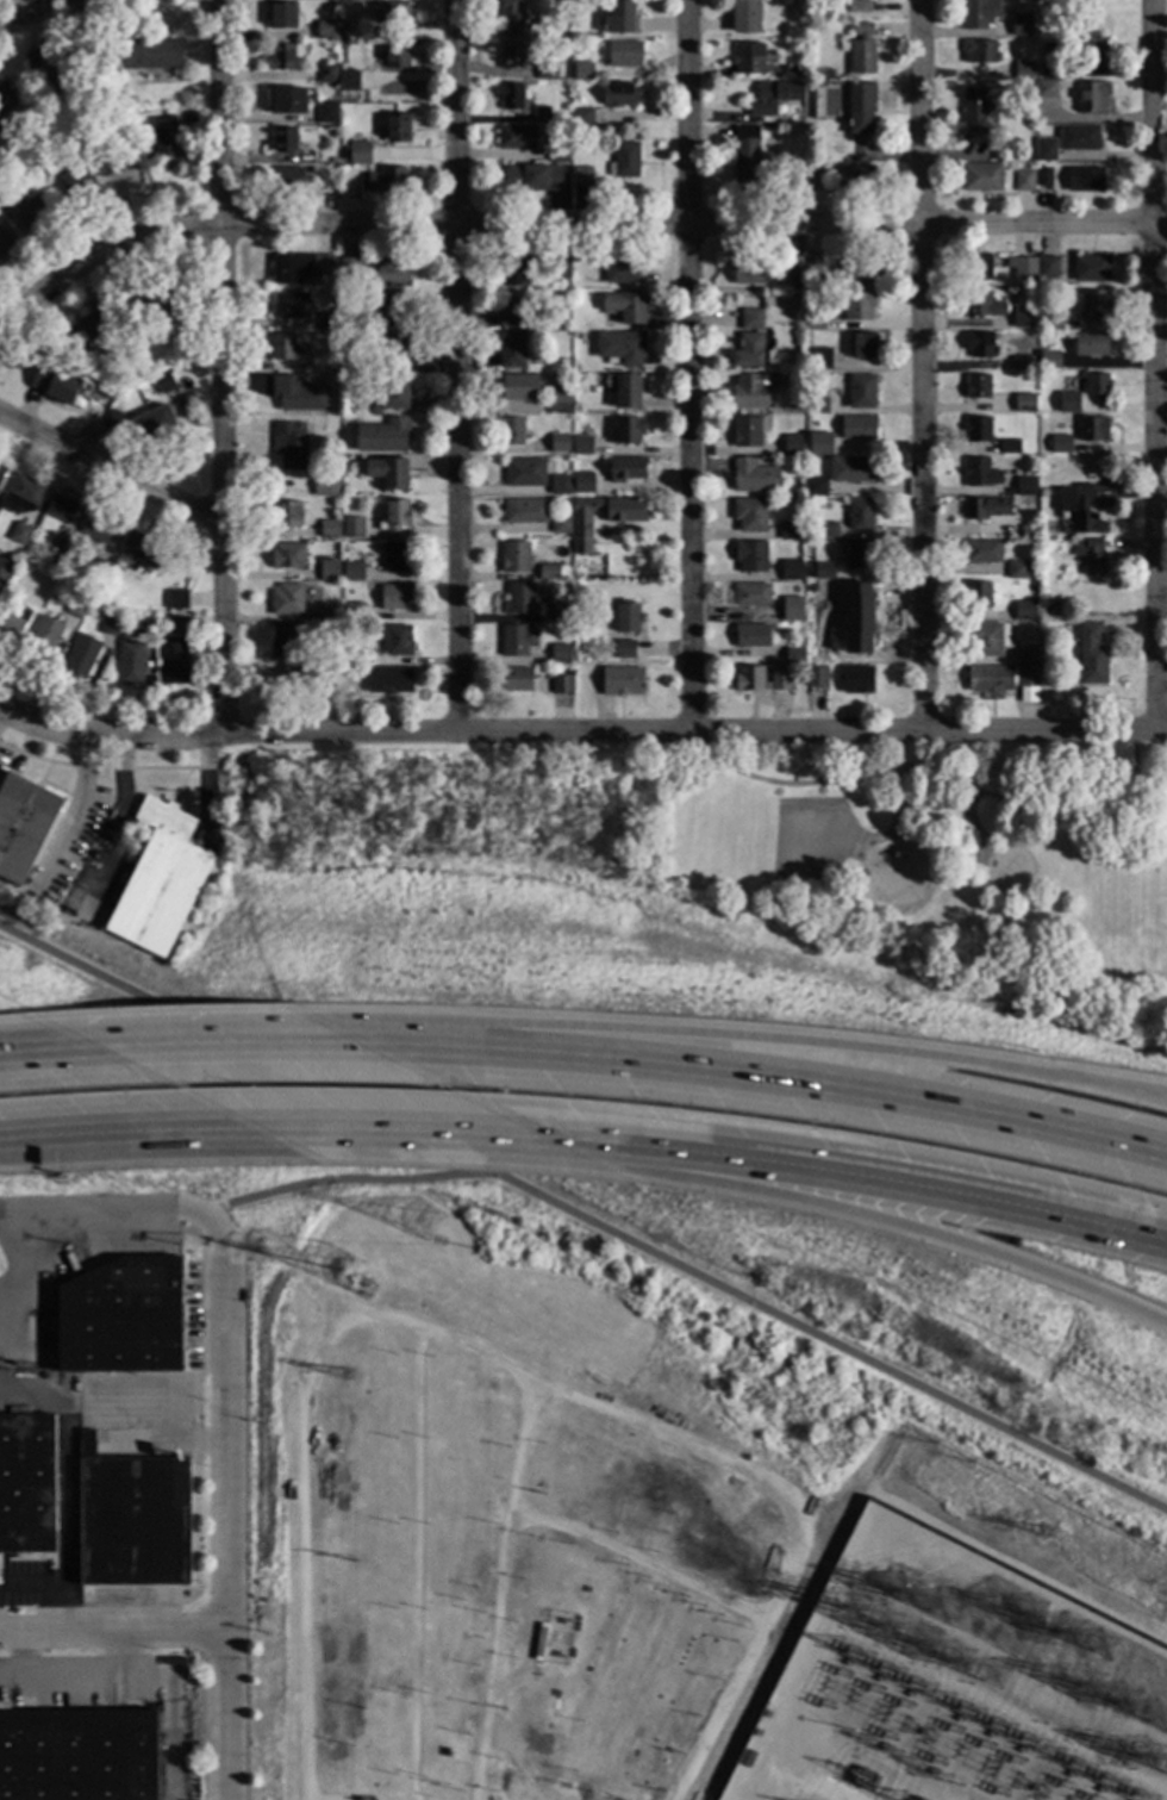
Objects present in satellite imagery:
building: (561, 5)
building: (859, 7)
road: (12, 10)
road: (32, 13)
building: (281, 13)
building: (978, 13)
building: (393, 14)
building: (620, 17)
building: (744, 17)
building: (508, 19)
building: (1021, 25)
building: (325, 30)
building: (1028, 44)
building: (1091, 46)
building: (861, 50)
building: (395, 51)
building: (979, 52)
building: (151, 54)
building: (624, 54)
building: (512, 55)
building: (281, 57)
building: (749, 57)
building: (1049, 61)
building: (56, 69)
building: (769, 69)
building: (547, 70)
building: (1023, 70)
building: (582, 71)
building: (326, 73)
building: (348, 80)
building: (1044, 89)
building: (618, 94)
building: (511, 95)
building: (773, 96)
building: (1092, 98)
building: (288, 100)
building: (5, 102)
building: (859, 107)
building: (326, 111)
building: (539, 114)
building: (974, 114)
building: (581, 120)
building: (398, 127)
building: (768, 129)
building: (516, 137)
building: (1079, 138)
building: (163, 139)
building: (285, 139)
building: (843, 145)
building: (1044, 149)
building: (557, 152)
building: (360, 154)
building: (745, 155)
building: (330, 161)
building: (624, 161)
building: (88, 173)
building: (581, 176)
building: (810, 176)
building: (856, 176)
building: (1043, 176)
building: (532, 177)
building: (981, 177)
building: (288, 179)
building: (1084, 179)
building: (385, 180)
building: (1023, 180)
building: (2, 204)
building: (31, 212)
road: (564, 223)
building: (6, 242)
building: (322, 259)
building: (811, 264)
building: (562, 266)
building: (978, 267)
building: (1022, 267)
building: (1047, 267)
building: (349, 268)
building: (792, 268)
building: (1090, 268)
building: (291, 269)
building: (624, 269)
building: (513, 270)
building: (747, 273)
building: (857, 273)
building: (392, 274)
building: (149, 303)
building: (981, 304)
building: (859, 305)
building: (1092, 305)
building: (289, 306)
building: (625, 306)
building: (387, 310)
building: (510, 310)
building: (766, 312)
building: (1053, 317)
building: (1022, 318)
building: (750, 319)
building: (327, 322)
building: (816, 323)
building: (82, 330)
building: (1091, 343)
building: (980, 344)
building: (862, 345)
building: (285, 348)
building: (622, 348)
building: (511, 349)
building: (393, 350)
building: (748, 351)
building: (819, 359)
building: (1050, 360)
building: (1022, 362)
road: (456, 363)
road: (1156, 365)
road: (689, 366)
road: (923, 366)
road: (219, 367)
building: (163, 381)
building: (54, 385)
building: (1098, 385)
building: (520, 386)
building: (978, 386)
building: (391, 390)
building: (628, 391)
building: (749, 392)
building: (861, 392)
building: (297, 394)
building: (817, 401)
building: (561, 403)
building: (1024, 403)
building: (1068, 403)
building: (114, 422)
building: (154, 425)
building: (859, 426)
building: (978, 429)
building: (1093, 429)
building: (511, 430)
building: (628, 430)
building: (748, 431)
building: (383, 436)
building: (558, 443)
building: (1060, 443)
building: (289, 444)
building: (793, 444)
building: (820, 444)
building: (582, 446)
building: (1007, 448)
road: (110, 466)
building: (1, 469)
building: (626, 469)
building: (851, 469)
building: (388, 472)
building: (524, 473)
building: (980, 473)
building: (754, 477)
building: (1086, 479)
building: (583, 481)
building: (560, 485)
building: (325, 486)
building: (1025, 486)
building: (816, 487)
building: (20, 496)
building: (776, 500)
building: (986, 507)
building: (62, 509)
building: (1080, 509)
building: (525, 511)
building: (287, 515)
building: (750, 515)
building: (394, 516)
building: (860, 516)
building: (561, 524)
building: (98, 528)
building: (352, 528)
building: (329, 529)
building: (581, 530)
building: (791, 530)
building: (826, 530)
building: (19, 535)
building: (142, 550)
building: (982, 550)
building: (58, 554)
building: (287, 555)
building: (1090, 555)
building: (516, 556)
building: (750, 556)
building: (860, 556)
building: (397, 558)
building: (4, 568)
building: (1016, 569)
building: (98, 571)
building: (330, 571)
building: (823, 571)
building: (352, 572)
building: (548, 573)
building: (792, 573)
building: (813, 587)
building: (751, 594)
building: (978, 594)
building: (395, 597)
building: (518, 598)
building: (176, 599)
building: (287, 599)
building: (859, 605)
building: (1, 606)
building: (76, 606)
building: (794, 610)
building: (329, 611)
building: (354, 611)
building: (1025, 611)
building: (560, 612)
building: (626, 617)
building: (13, 624)
building: (110, 625)
building: (144, 625)
building: (778, 628)
building: (751, 634)
building: (986, 637)
building: (43, 639)
building: (398, 640)
building: (516, 640)
building: (282, 641)
building: (625, 649)
building: (174, 652)
building: (560, 653)
building: (1026, 653)
building: (1092, 654)
building: (795, 655)
building: (81, 656)
building: (363, 656)
building: (130, 664)
building: (298, 666)
building: (1026, 674)
building: (351, 675)
building: (816, 677)
building: (990, 678)
building: (749, 679)
building: (856, 679)
building: (389, 680)
building: (519, 680)
building: (623, 680)
building: (780, 680)
building: (562, 684)
road: (1, 712)
road: (694, 730)
road: (108, 735)
road: (1131, 765)
road: (928, 772)
road: (891, 803)
road: (74, 808)
road: (929, 810)
building: (23, 824)
road: (121, 824)
road: (972, 826)
park: (793, 842)
park: (809, 843)
building: (158, 880)
road: (405, 1044)
road: (812, 1045)
road: (208, 1046)
road: (31, 1052)
road: (813, 1084)
road: (373, 1129)
road: (145, 1132)
road: (24, 1138)
road: (582, 1142)
road: (344, 1181)
road: (917, 1188)
road: (116, 1208)
road: (583, 1219)
power tower: (425, 1222)
road: (918, 1235)
power tower: (347, 1275)
building: (120, 1318)
power tower: (347, 1376)
road: (657, 1427)
building: (26, 1484)
road: (224, 1518)
building: (132, 1519)
road: (302, 1547)
power tower: (354, 1561)
road: (639, 1561)
road: (419, 1562)
power tower: (915, 1581)
road: (499, 1588)
road: (50, 1592)
road: (111, 1636)
power substation: (966, 1646)
power tower: (1102, 1650)
road: (24, 1655)
road: (80, 1675)
building: (4, 1707)
building: (77, 1756)
road: (344, 1799)

